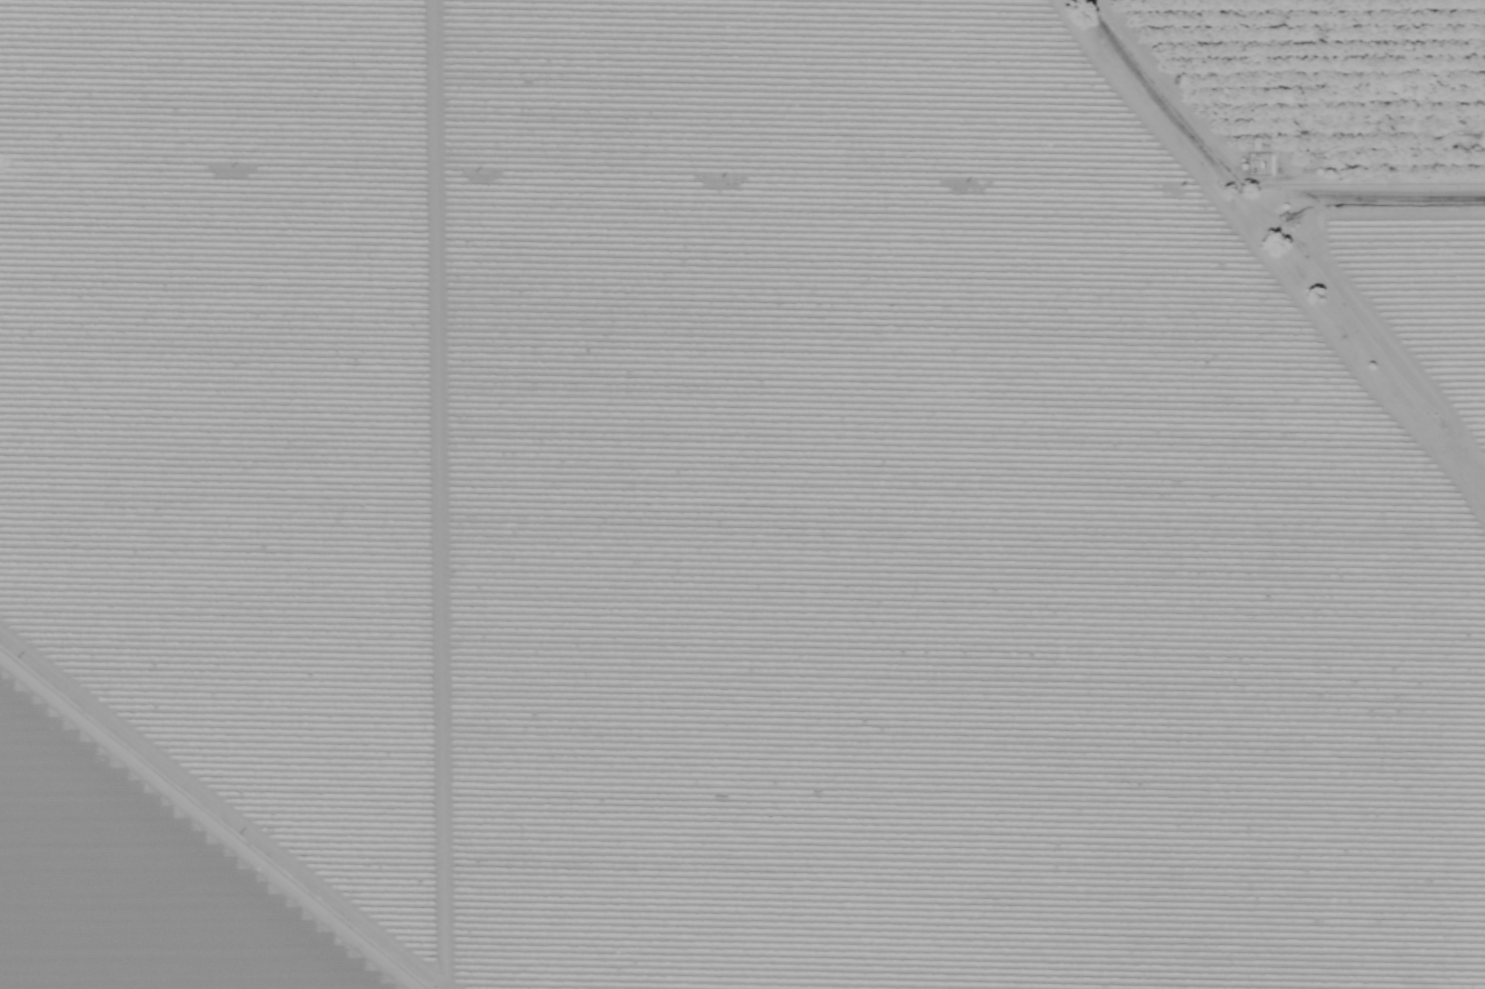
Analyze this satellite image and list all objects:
road: (1323, 199)
road: (1483, 379)
road: (227, 804)
crop: (147, 869)

